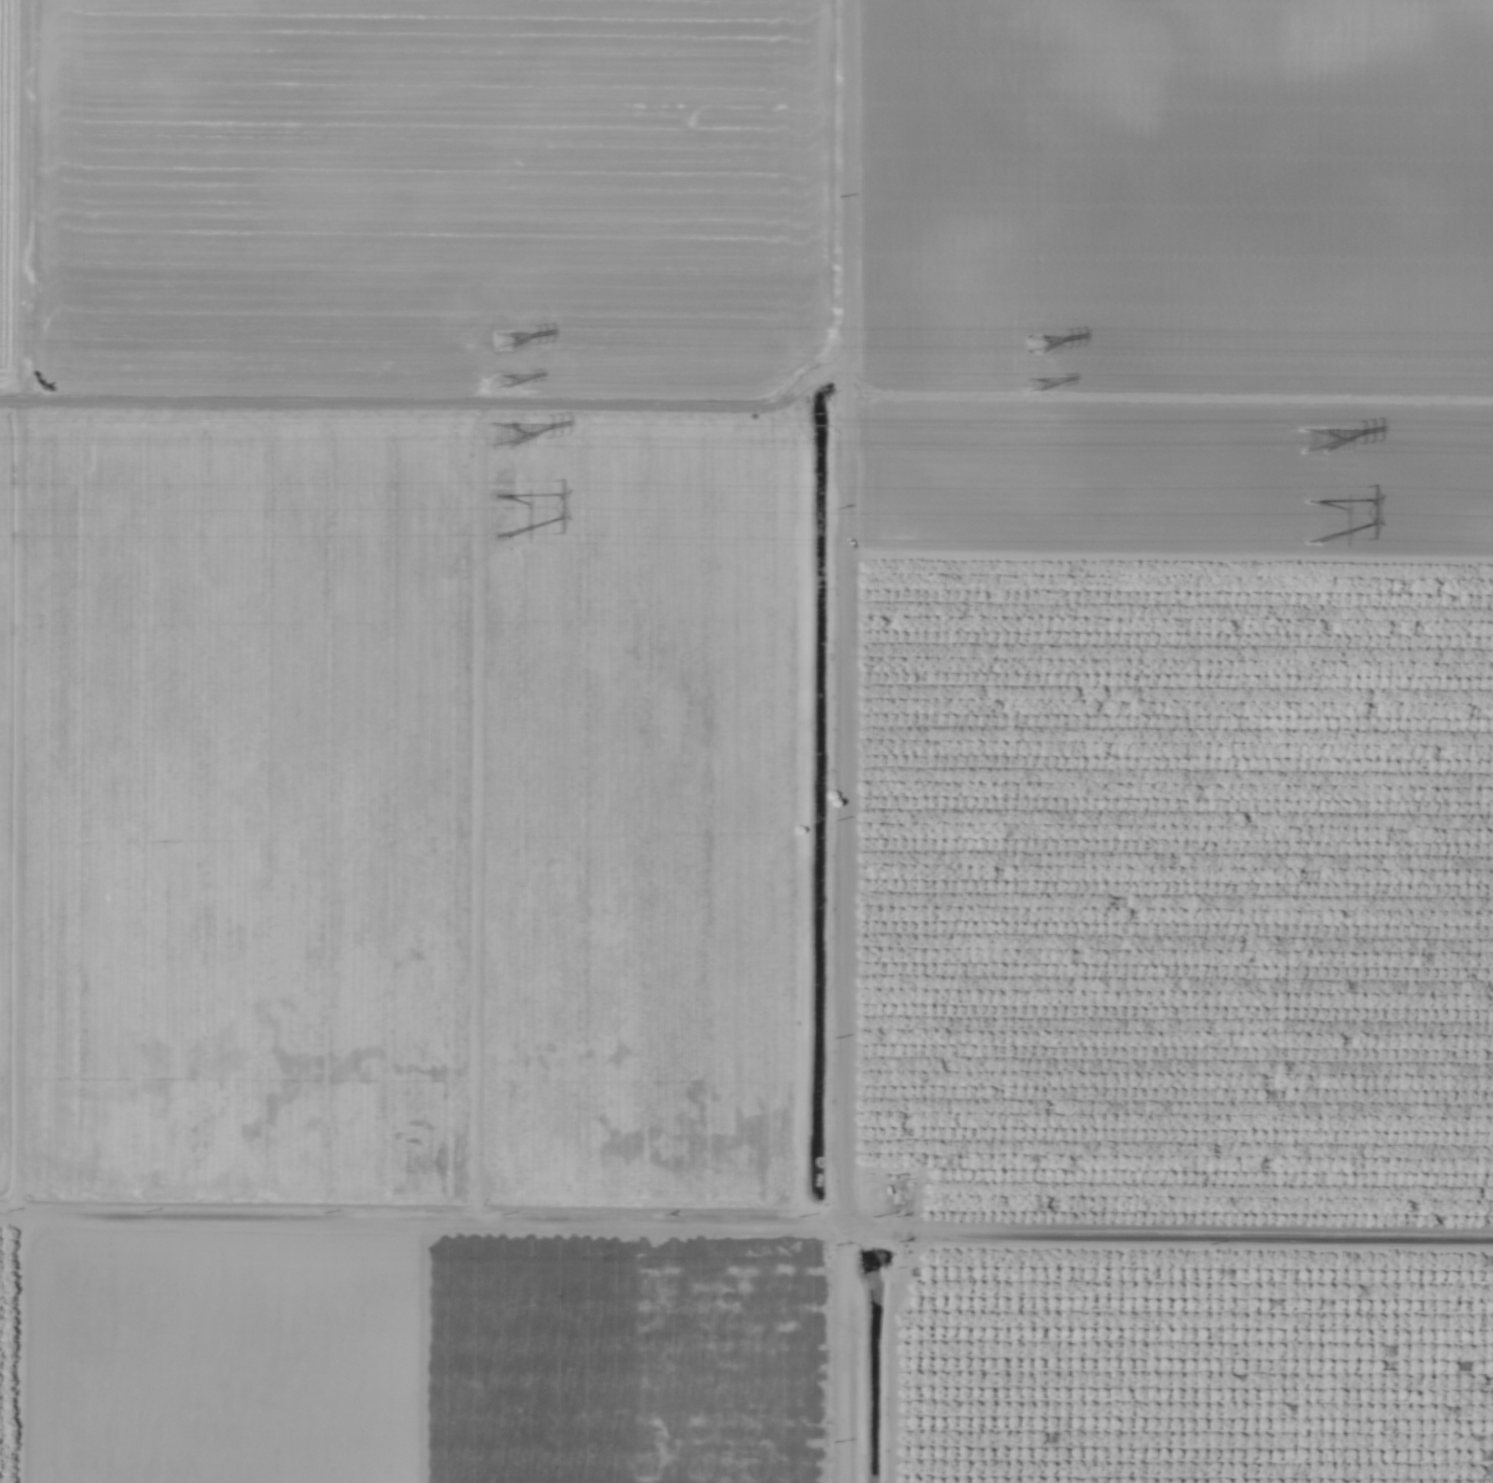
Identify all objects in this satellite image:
power tower: (501, 344)
power tower: (1035, 347)
power tower: (505, 385)
power tower: (1039, 388)
power tower: (505, 436)
power tower: (1318, 444)
power tower: (500, 520)
power tower: (1321, 526)
road: (1167, 553)
crop: (746, 741)
road: (838, 741)
road: (416, 1218)
road: (1163, 1228)
road: (12, 1350)

